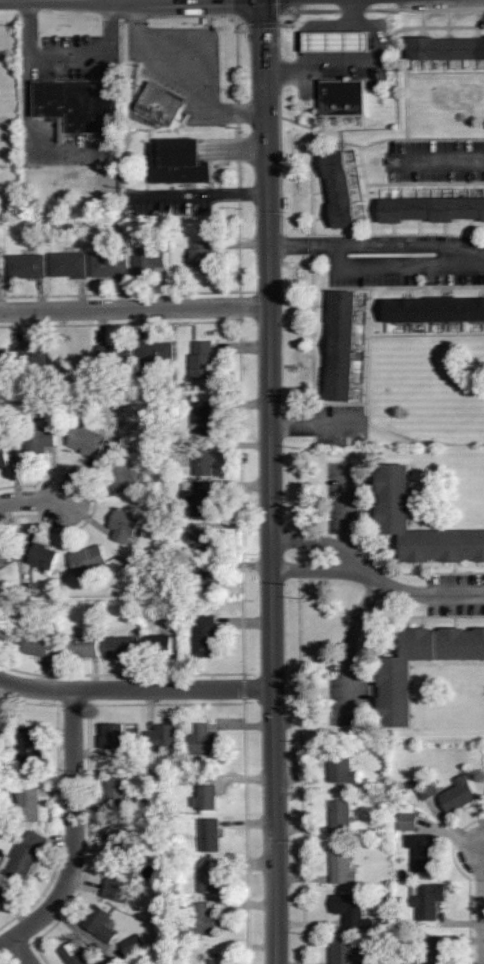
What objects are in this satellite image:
building: (342, 41)
building: (446, 47)
road: (201, 57)
road: (362, 57)
road: (71, 61)
building: (342, 93)
building: (80, 101)
building: (162, 101)
building: (178, 160)
road: (434, 161)
building: (339, 188)
building: (431, 209)
building: (123, 229)
building: (54, 237)
building: (41, 243)
road: (376, 244)
building: (202, 257)
building: (1, 260)
building: (109, 261)
building: (148, 261)
building: (25, 265)
building: (68, 265)
road: (134, 306)
building: (435, 309)
building: (341, 345)
building: (114, 355)
building: (32, 356)
building: (154, 358)
building: (3, 361)
building: (203, 361)
building: (8, 390)
building: (50, 413)
building: (202, 420)
road: (312, 425)
building: (5, 428)
building: (189, 435)
building: (40, 439)
building: (87, 442)
building: (134, 447)
building: (172, 449)
building: (3, 455)
building: (200, 457)
building: (172, 465)
building: (122, 477)
road: (270, 481)
building: (199, 498)
road: (32, 500)
road: (347, 512)
building: (171, 515)
building: (393, 515)
building: (125, 526)
building: (202, 543)
building: (5, 552)
building: (45, 557)
building: (89, 559)
building: (135, 565)
building: (186, 567)
road: (376, 579)
building: (205, 584)
building: (29, 588)
building: (136, 593)
building: (139, 615)
building: (177, 624)
building: (5, 633)
building: (204, 636)
building: (161, 644)
building: (39, 645)
building: (82, 645)
building: (122, 648)
road: (349, 649)
building: (394, 674)
road: (136, 687)
building: (3, 732)
building: (114, 737)
building: (163, 739)
building: (203, 741)
building: (29, 747)
building: (134, 754)
building: (189, 765)
building: (340, 765)
building: (456, 794)
building: (116, 795)
building: (206, 798)
building: (28, 805)
building: (148, 809)
building: (339, 815)
building: (408, 822)
road: (72, 825)
building: (208, 835)
building: (114, 837)
building: (420, 850)
building: (24, 857)
building: (341, 865)
building: (208, 877)
road: (483, 884)
building: (119, 885)
building: (3, 896)
building: (426, 899)
building: (349, 910)
building: (198, 917)
building: (100, 925)
road: (6, 941)
building: (134, 946)
building: (439, 949)
road: (20, 950)
building: (342, 950)
building: (73, 954)

